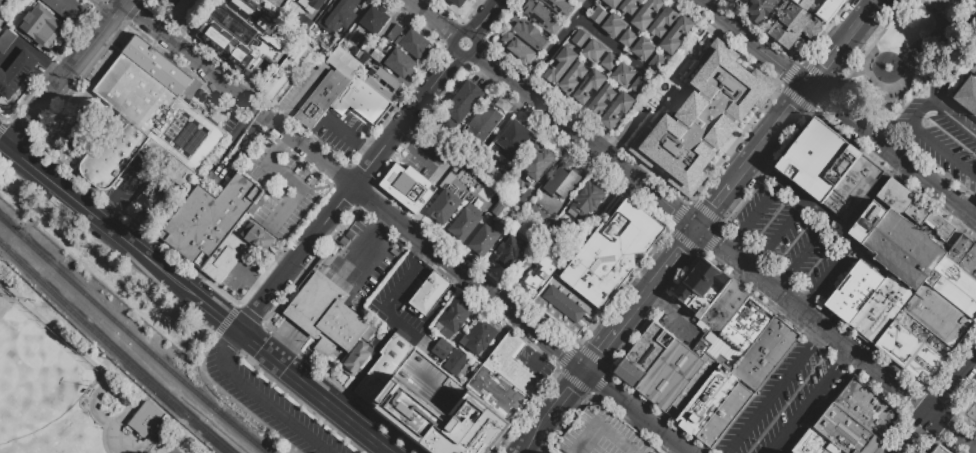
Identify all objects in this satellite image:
building: (286, 0)
road: (121, 1)
building: (577, 1)
building: (729, 1)
building: (166, 2)
building: (458, 2)
building: (740, 2)
road: (877, 2)
building: (315, 3)
building: (611, 3)
building: (803, 3)
building: (629, 6)
road: (102, 7)
building: (559, 7)
building: (66, 8)
building: (761, 9)
building: (828, 9)
building: (188, 10)
road: (933, 11)
building: (645, 14)
building: (597, 15)
building: (338, 16)
road: (484, 16)
building: (541, 16)
road: (432, 17)
road: (864, 18)
building: (374, 21)
building: (662, 21)
building: (801, 22)
building: (613, 25)
building: (36, 31)
building: (239, 31)
building: (315, 31)
building: (529, 35)
building: (675, 35)
building: (787, 36)
road: (93, 37)
building: (580, 38)
building: (627, 38)
road: (847, 41)
building: (9, 42)
building: (410, 42)
road: (917, 42)
road: (753, 44)
road: (557, 45)
road: (613, 47)
building: (135, 48)
building: (518, 48)
building: (643, 48)
building: (594, 50)
road: (468, 52)
building: (376, 54)
park: (907, 57)
building: (150, 60)
building: (608, 61)
building: (343, 62)
building: (656, 62)
building: (399, 63)
building: (560, 64)
road: (825, 69)
building: (20, 70)
building: (286, 70)
building: (623, 73)
building: (572, 76)
building: (172, 77)
road: (870, 80)
building: (383, 81)
building: (3, 84)
building: (639, 84)
building: (587, 86)
parking lot: (304, 88)
building: (473, 89)
traffic signals: (810, 89)
building: (967, 92)
building: (134, 93)
road: (305, 93)
road: (44, 98)
building: (321, 98)
building: (465, 98)
building: (361, 100)
building: (601, 100)
road: (234, 103)
parking lot: (207, 106)
building: (457, 108)
building: (616, 108)
water tower: (86, 112)
road: (942, 114)
building: (450, 117)
road: (210, 118)
road: (404, 118)
building: (703, 118)
road: (255, 120)
road: (282, 122)
road: (783, 123)
building: (482, 125)
park: (77, 129)
road: (905, 131)
road: (342, 133)
building: (186, 134)
road: (13, 135)
parking lot: (342, 135)
parking lot: (942, 136)
building: (511, 139)
road: (402, 140)
road: (585, 140)
road: (895, 142)
road: (2, 143)
road: (236, 144)
road: (284, 144)
parking lot: (231, 151)
road: (366, 151)
building: (112, 152)
road: (942, 153)
road: (893, 154)
parking lot: (430, 159)
building: (817, 159)
road: (427, 160)
building: (537, 163)
building: (176, 170)
road: (135, 174)
building: (495, 177)
building: (560, 183)
road: (353, 184)
parking lot: (141, 186)
building: (407, 186)
building: (852, 187)
road: (299, 188)
parking lot: (280, 190)
road: (64, 192)
road: (727, 193)
building: (239, 194)
building: (526, 196)
building: (894, 196)
building: (585, 200)
building: (908, 205)
building: (444, 206)
building: (913, 207)
building: (498, 211)
road: (973, 212)
road: (106, 214)
building: (922, 214)
road: (755, 216)
building: (466, 221)
road: (836, 221)
building: (200, 225)
building: (941, 228)
traffic signals: (699, 230)
road: (778, 234)
building: (257, 237)
building: (483, 240)
parking lot: (797, 241)
building: (966, 245)
building: (507, 252)
building: (610, 253)
road: (803, 254)
building: (973, 254)
road: (426, 255)
building: (914, 257)
building: (224, 258)
road: (296, 259)
parking lot: (366, 261)
road: (672, 262)
building: (963, 262)
road: (160, 270)
road: (833, 270)
building: (540, 271)
building: (710, 274)
road: (251, 281)
building: (846, 286)
building: (691, 288)
building: (854, 292)
building: (428, 293)
road: (397, 295)
parking lot: (401, 297)
building: (864, 300)
road: (656, 302)
building: (563, 305)
building: (878, 305)
building: (724, 306)
road: (442, 307)
building: (942, 314)
building: (890, 316)
road: (217, 317)
building: (326, 317)
building: (452, 318)
road: (815, 322)
road: (683, 324)
building: (745, 326)
parking lot: (680, 328)
road: (407, 331)
road: (615, 331)
building: (926, 333)
railway: (131, 337)
building: (477, 337)
building: (893, 339)
road: (233, 340)
flagpole: (310, 342)
road: (286, 344)
building: (907, 350)
railway: (112, 351)
building: (765, 352)
building: (643, 355)
building: (449, 356)
road: (540, 356)
building: (932, 356)
building: (357, 358)
building: (927, 364)
road: (365, 365)
building: (388, 365)
building: (513, 365)
traffic signals: (586, 368)
park: (35, 371)
building: (920, 372)
building: (669, 375)
park: (65, 383)
road: (953, 386)
road: (308, 388)
road: (774, 391)
building: (498, 392)
road: (566, 392)
building: (702, 395)
parking lot: (789, 402)
road: (812, 402)
road: (268, 404)
parking lot: (269, 405)
building: (866, 408)
road: (639, 410)
park: (967, 410)
building: (723, 415)
traffic signals: (932, 415)
building: (147, 419)
building: (440, 419)
building: (848, 431)
road: (533, 433)
road: (916, 433)
road: (953, 433)
parking lot: (604, 434)
building: (602, 435)
building: (832, 439)
building: (824, 441)
building: (813, 445)
road: (383, 448)
building: (801, 449)
building: (939, 449)
road: (519, 451)
parking lot: (665, 452)
building: (792, 452)

